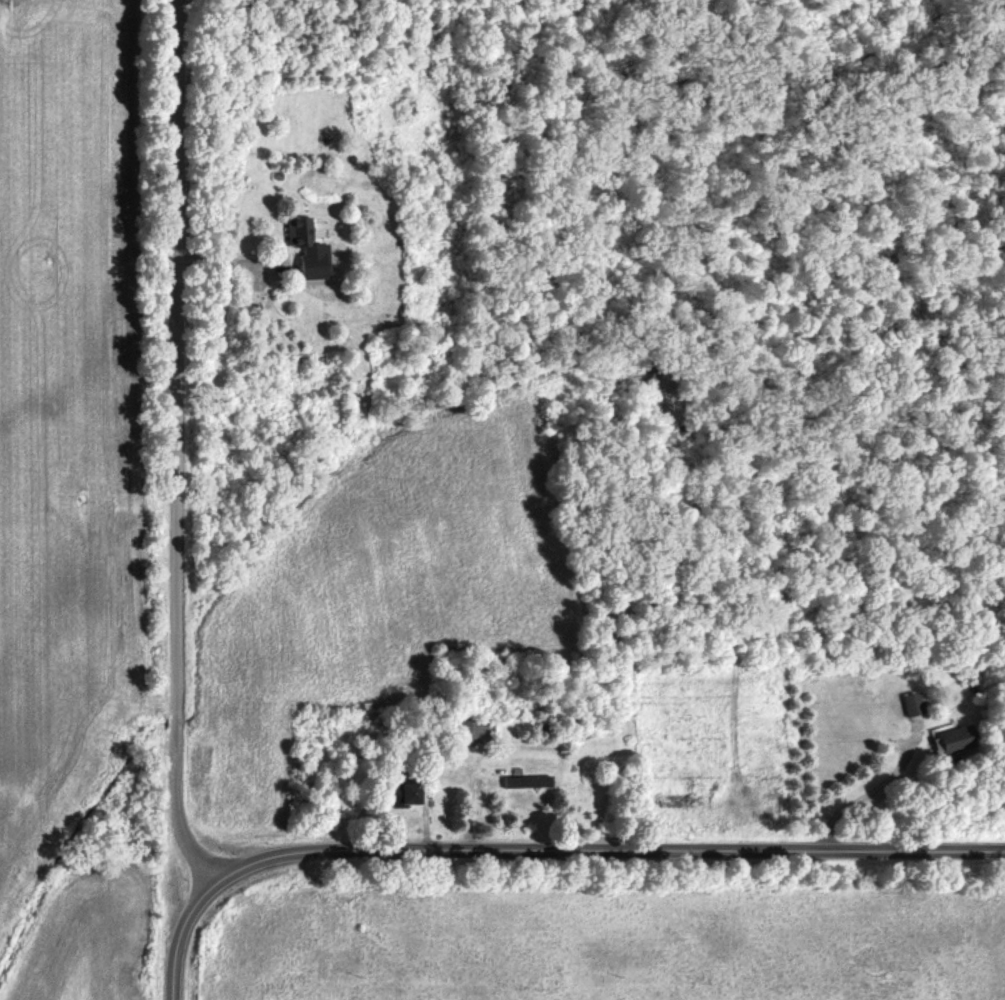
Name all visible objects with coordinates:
building: (295, 233)
road: (175, 461)
building: (912, 705)
building: (465, 732)
building: (953, 740)
building: (396, 795)
road: (212, 838)
road: (577, 853)
road: (173, 961)

